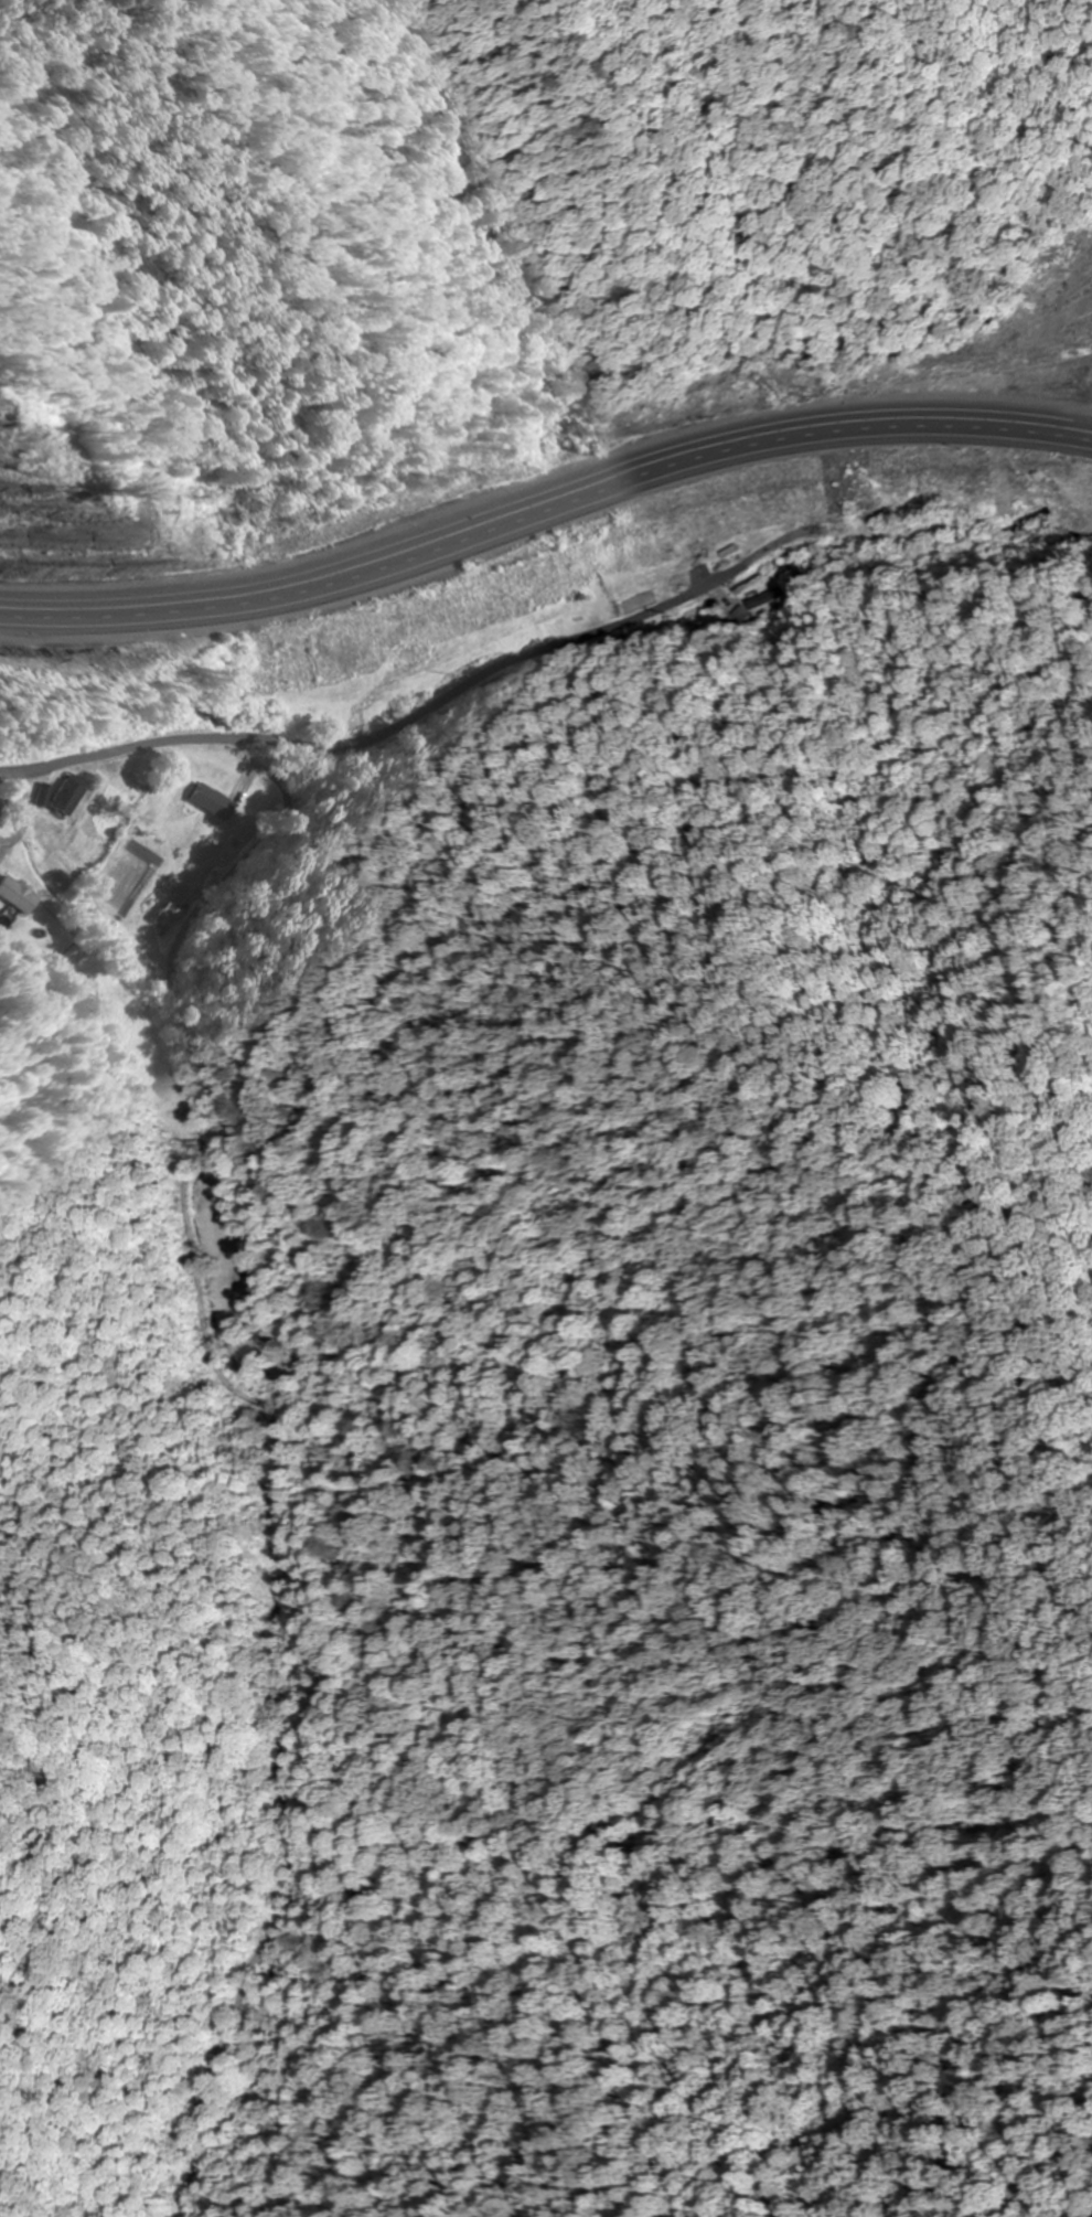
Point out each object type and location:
road: (542, 499)
building: (577, 542)
building: (285, 597)
building: (308, 684)
road: (136, 735)
building: (69, 795)
building: (211, 801)
building: (19, 896)
building: (169, 914)
road: (189, 1118)

